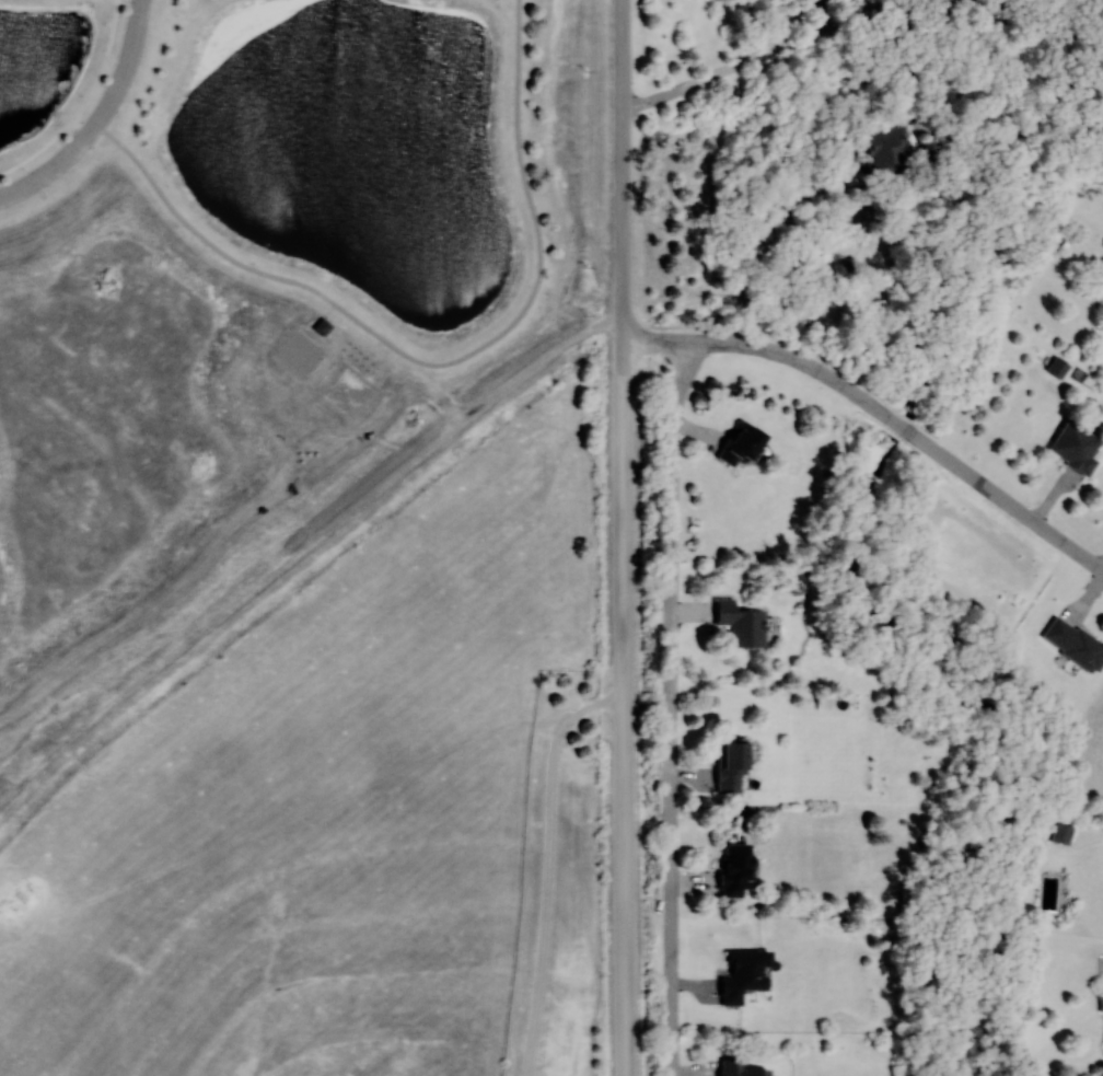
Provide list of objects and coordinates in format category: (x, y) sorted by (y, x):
road: (872, 8)
road: (895, 14)
road: (744, 65)
road: (82, 103)
road: (98, 120)
building: (894, 152)
road: (623, 172)
road: (805, 219)
building: (322, 326)
road: (434, 365)
road: (879, 416)
building: (742, 443)
building: (1076, 448)
road: (1102, 575)
building: (742, 624)
building: (1075, 644)
road: (673, 708)
road: (624, 709)
building: (731, 766)
building: (1061, 834)
road: (548, 868)
building: (736, 870)
building: (745, 975)
building: (740, 1069)

